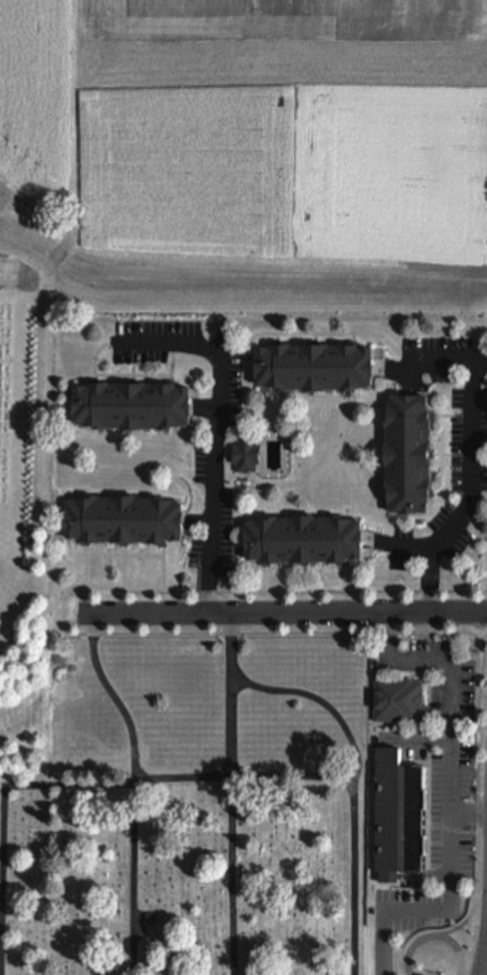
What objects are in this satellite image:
road: (19, 201)
crop: (214, 208)
road: (238, 348)
road: (95, 358)
road: (429, 358)
road: (173, 366)
building: (316, 367)
road: (392, 370)
road: (134, 372)
road: (134, 376)
building: (134, 407)
road: (204, 409)
road: (446, 416)
road: (230, 431)
road: (214, 436)
building: (247, 455)
building: (410, 455)
road: (443, 455)
road: (445, 455)
road: (446, 493)
road: (485, 493)
road: (469, 495)
building: (125, 521)
road: (196, 521)
building: (305, 541)
road: (125, 556)
road: (86, 574)
road: (125, 574)
road: (163, 575)
road: (431, 580)
road: (345, 583)
road: (267, 584)
road: (306, 584)
road: (284, 592)
street lamp: (81, 598)
road: (285, 613)
road: (437, 633)
road: (484, 640)
road: (113, 695)
road: (231, 695)
road: (318, 700)
building: (399, 701)
road: (450, 761)
road: (177, 778)
parking lot: (440, 778)
park: (191, 811)
road: (468, 812)
building: (399, 817)
road: (354, 875)
road: (133, 876)
road: (231, 876)
road: (2, 882)
road: (483, 934)
road: (465, 935)
road: (433, 936)
road: (383, 942)

